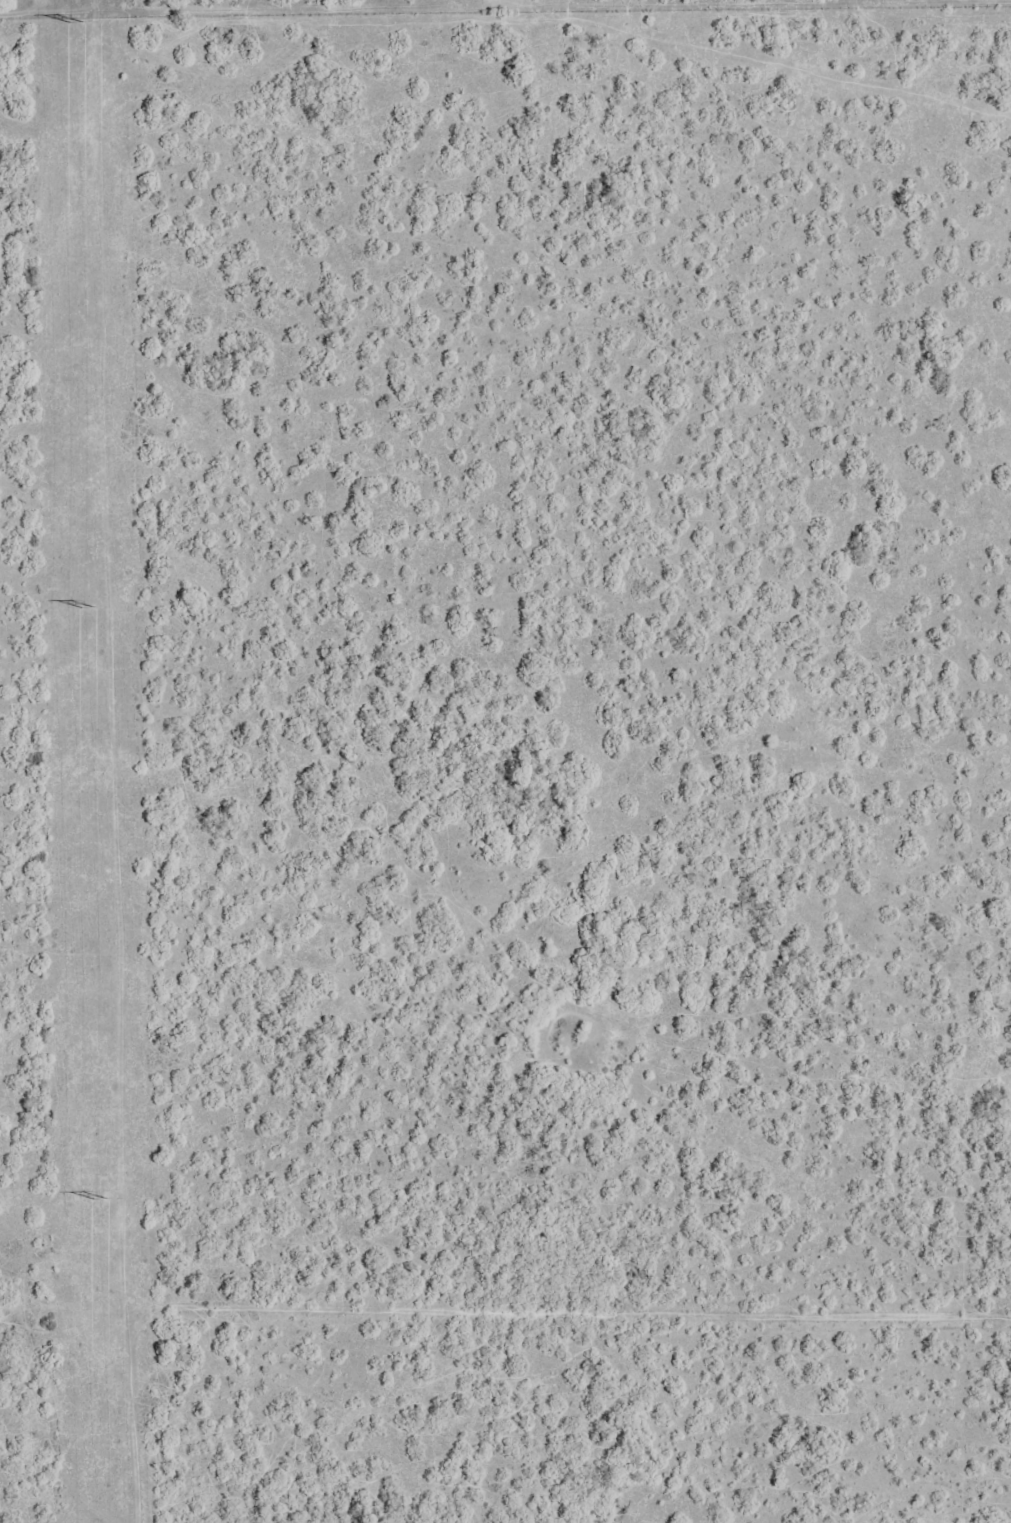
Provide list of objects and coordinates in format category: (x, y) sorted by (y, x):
power tower: (78, 25)
power tower: (90, 607)
power tower: (101, 1197)
road: (505, 1295)

